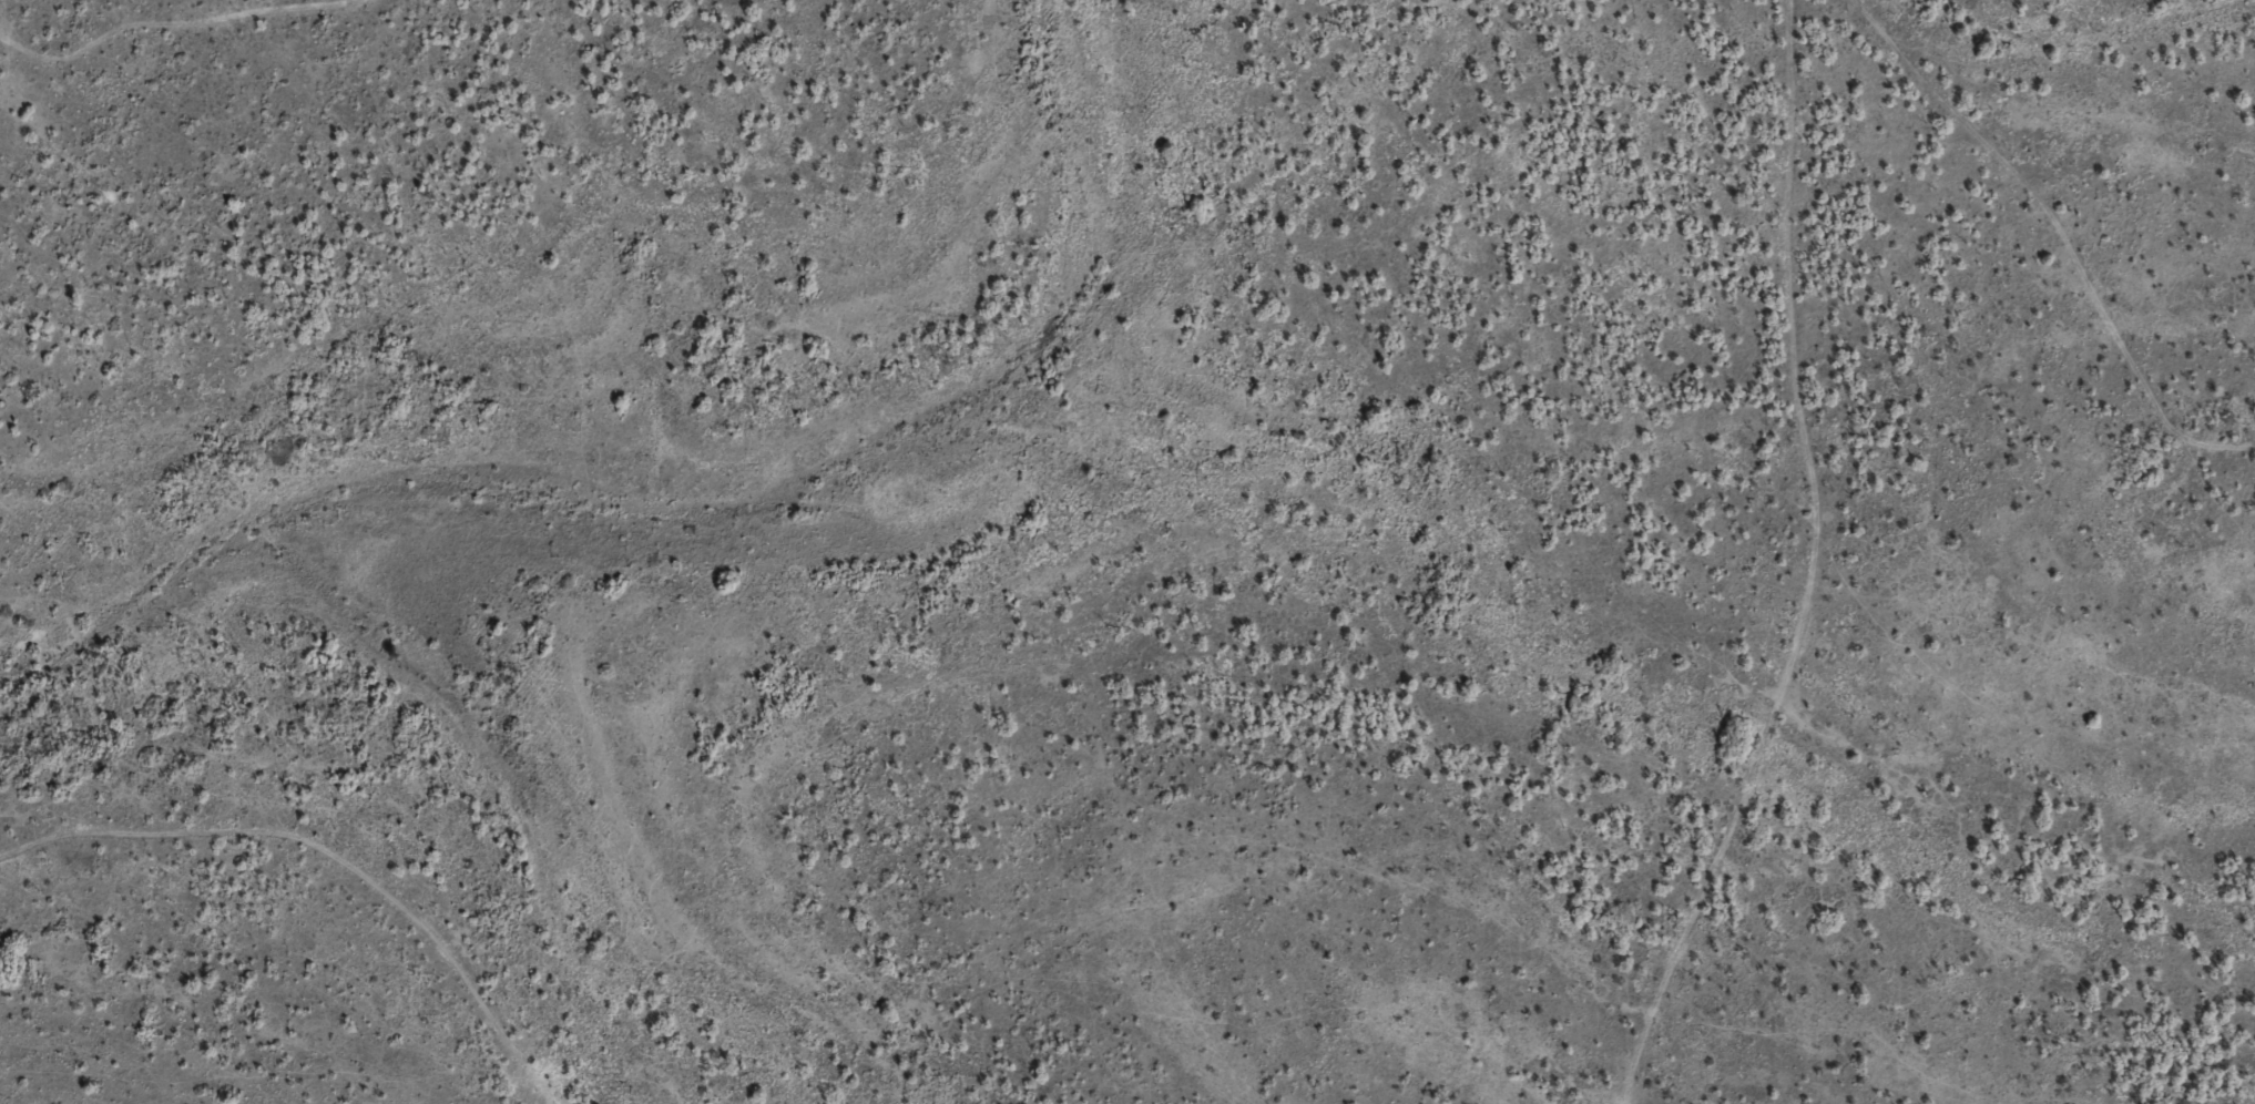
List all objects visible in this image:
road: (331, 860)

